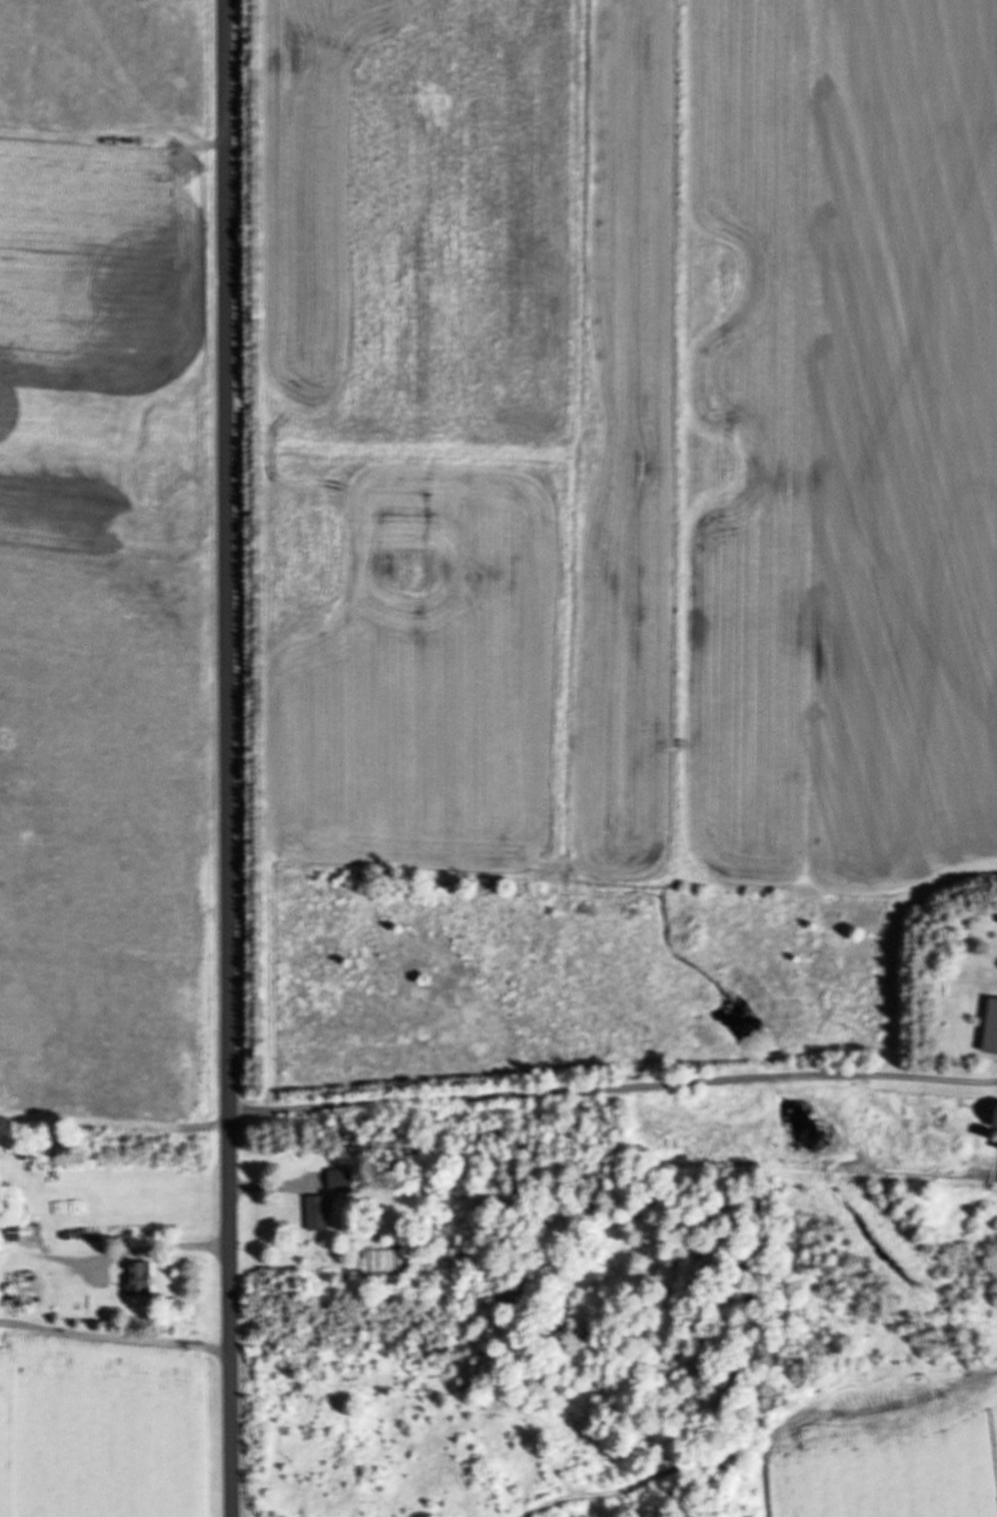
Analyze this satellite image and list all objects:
road: (230, 758)
building: (989, 1026)
road: (978, 1079)
building: (991, 1117)
building: (996, 1151)
building: (341, 1178)
building: (317, 1212)
building: (23, 1230)
building: (137, 1277)

